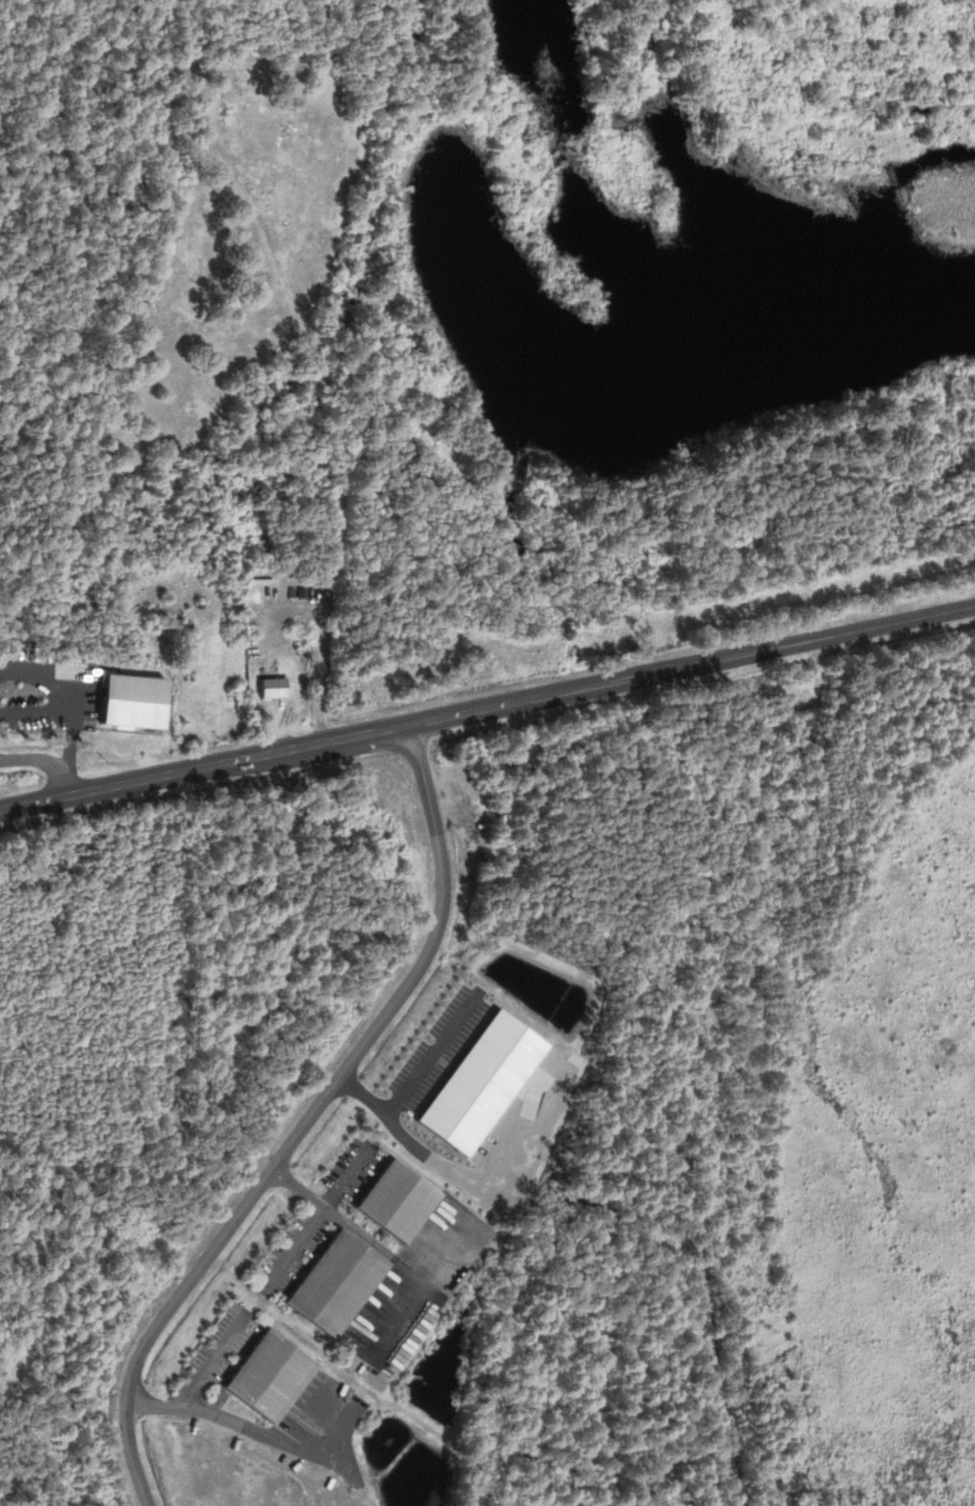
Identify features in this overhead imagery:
park: (249, 234)
building: (271, 689)
road: (487, 707)
road: (43, 759)
road: (302, 1121)
building: (395, 1202)
road: (317, 1215)
road: (379, 1248)
building: (334, 1284)
building: (266, 1377)
road: (191, 1384)
road: (269, 1434)

